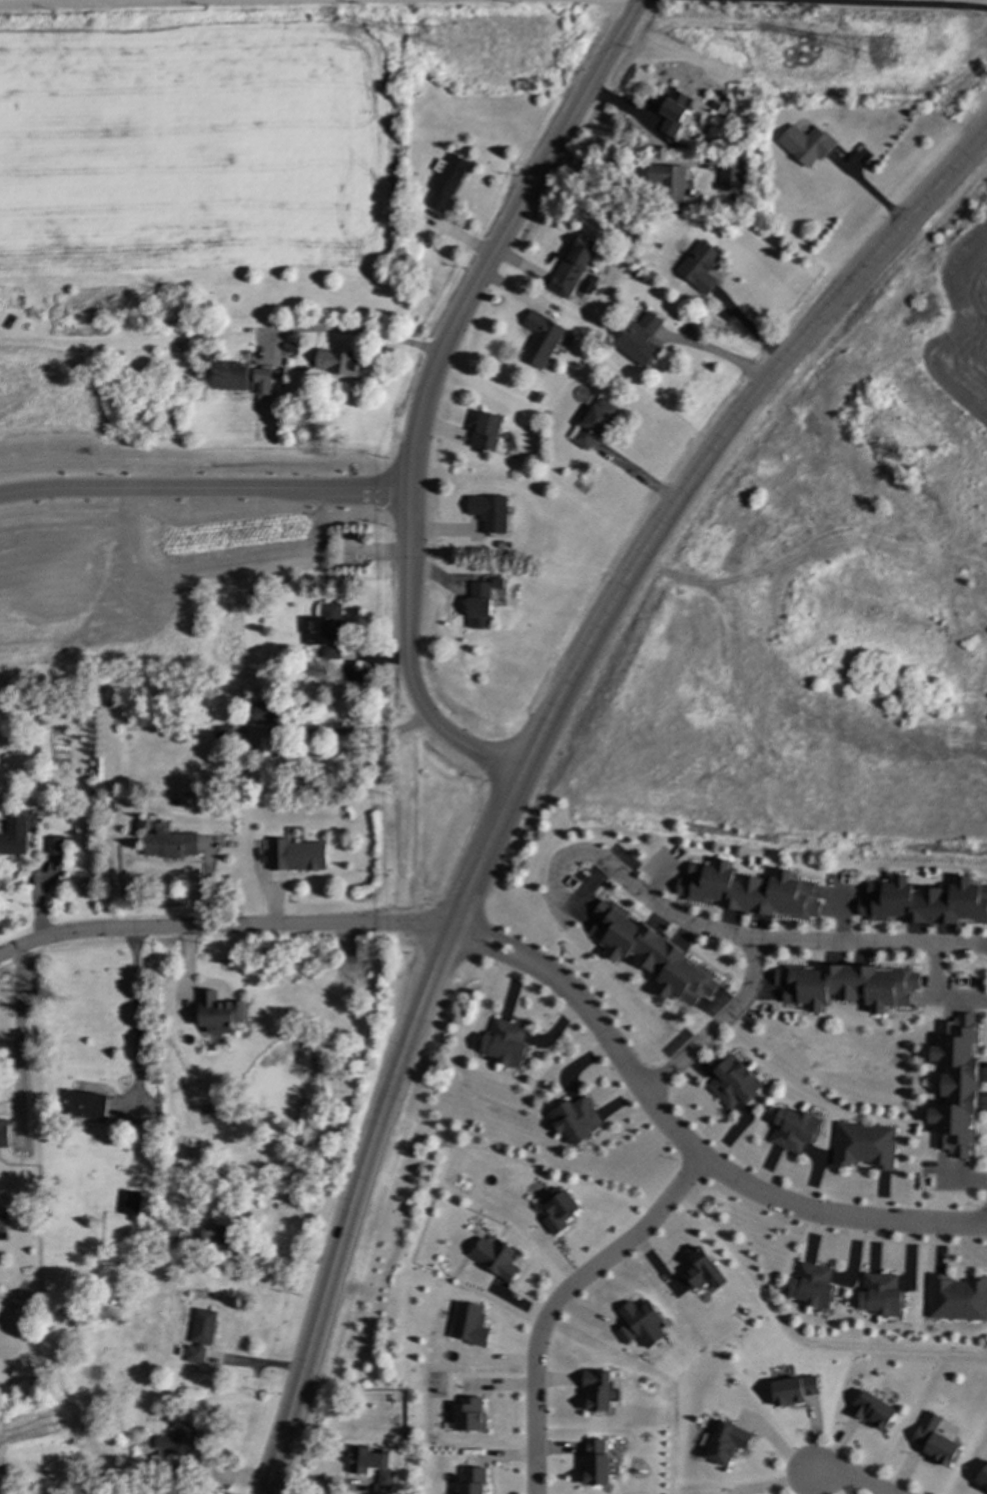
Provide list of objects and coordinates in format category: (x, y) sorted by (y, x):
road: (606, 1)
road: (151, 3)
road: (902, 3)
power tower: (431, 40)
power tower: (887, 57)
building: (717, 105)
building: (676, 110)
road: (559, 137)
building: (807, 143)
crop: (192, 148)
building: (733, 175)
building: (449, 180)
building: (670, 184)
building: (578, 258)
building: (702, 266)
building: (592, 283)
building: (543, 337)
road: (380, 338)
building: (641, 338)
road: (717, 352)
building: (336, 363)
building: (240, 378)
building: (596, 423)
building: (488, 429)
road: (202, 478)
road: (674, 505)
building: (492, 512)
building: (503, 544)
road: (405, 547)
building: (500, 582)
building: (480, 605)
building: (324, 630)
building: (265, 712)
road: (338, 734)
building: (14, 836)
building: (53, 845)
building: (169, 845)
building: (296, 855)
building: (751, 888)
building: (926, 900)
road: (224, 927)
road: (774, 950)
building: (653, 953)
road: (433, 982)
building: (848, 984)
road: (936, 998)
road: (134, 1009)
building: (218, 1013)
road: (17, 1027)
road: (719, 1029)
building: (508, 1042)
building: (736, 1081)
building: (959, 1084)
building: (85, 1105)
building: (577, 1118)
building: (796, 1128)
building: (4, 1133)
road: (686, 1144)
building: (866, 1144)
building: (130, 1206)
building: (561, 1210)
building: (3, 1227)
building: (218, 1234)
building: (172, 1236)
building: (498, 1257)
road: (335, 1258)
building: (706, 1269)
building: (815, 1285)
building: (883, 1294)
building: (959, 1298)
road: (565, 1301)
building: (645, 1321)
building: (471, 1323)
building: (200, 1335)
building: (625, 1335)
building: (595, 1391)
building: (792, 1391)
building: (871, 1411)
building: (468, 1414)
crop: (34, 1427)
building: (177, 1441)
building: (721, 1443)
building: (939, 1450)
building: (363, 1459)
building: (595, 1463)
building: (389, 1478)
building: (984, 1480)
building: (469, 1481)
road: (855, 1481)

